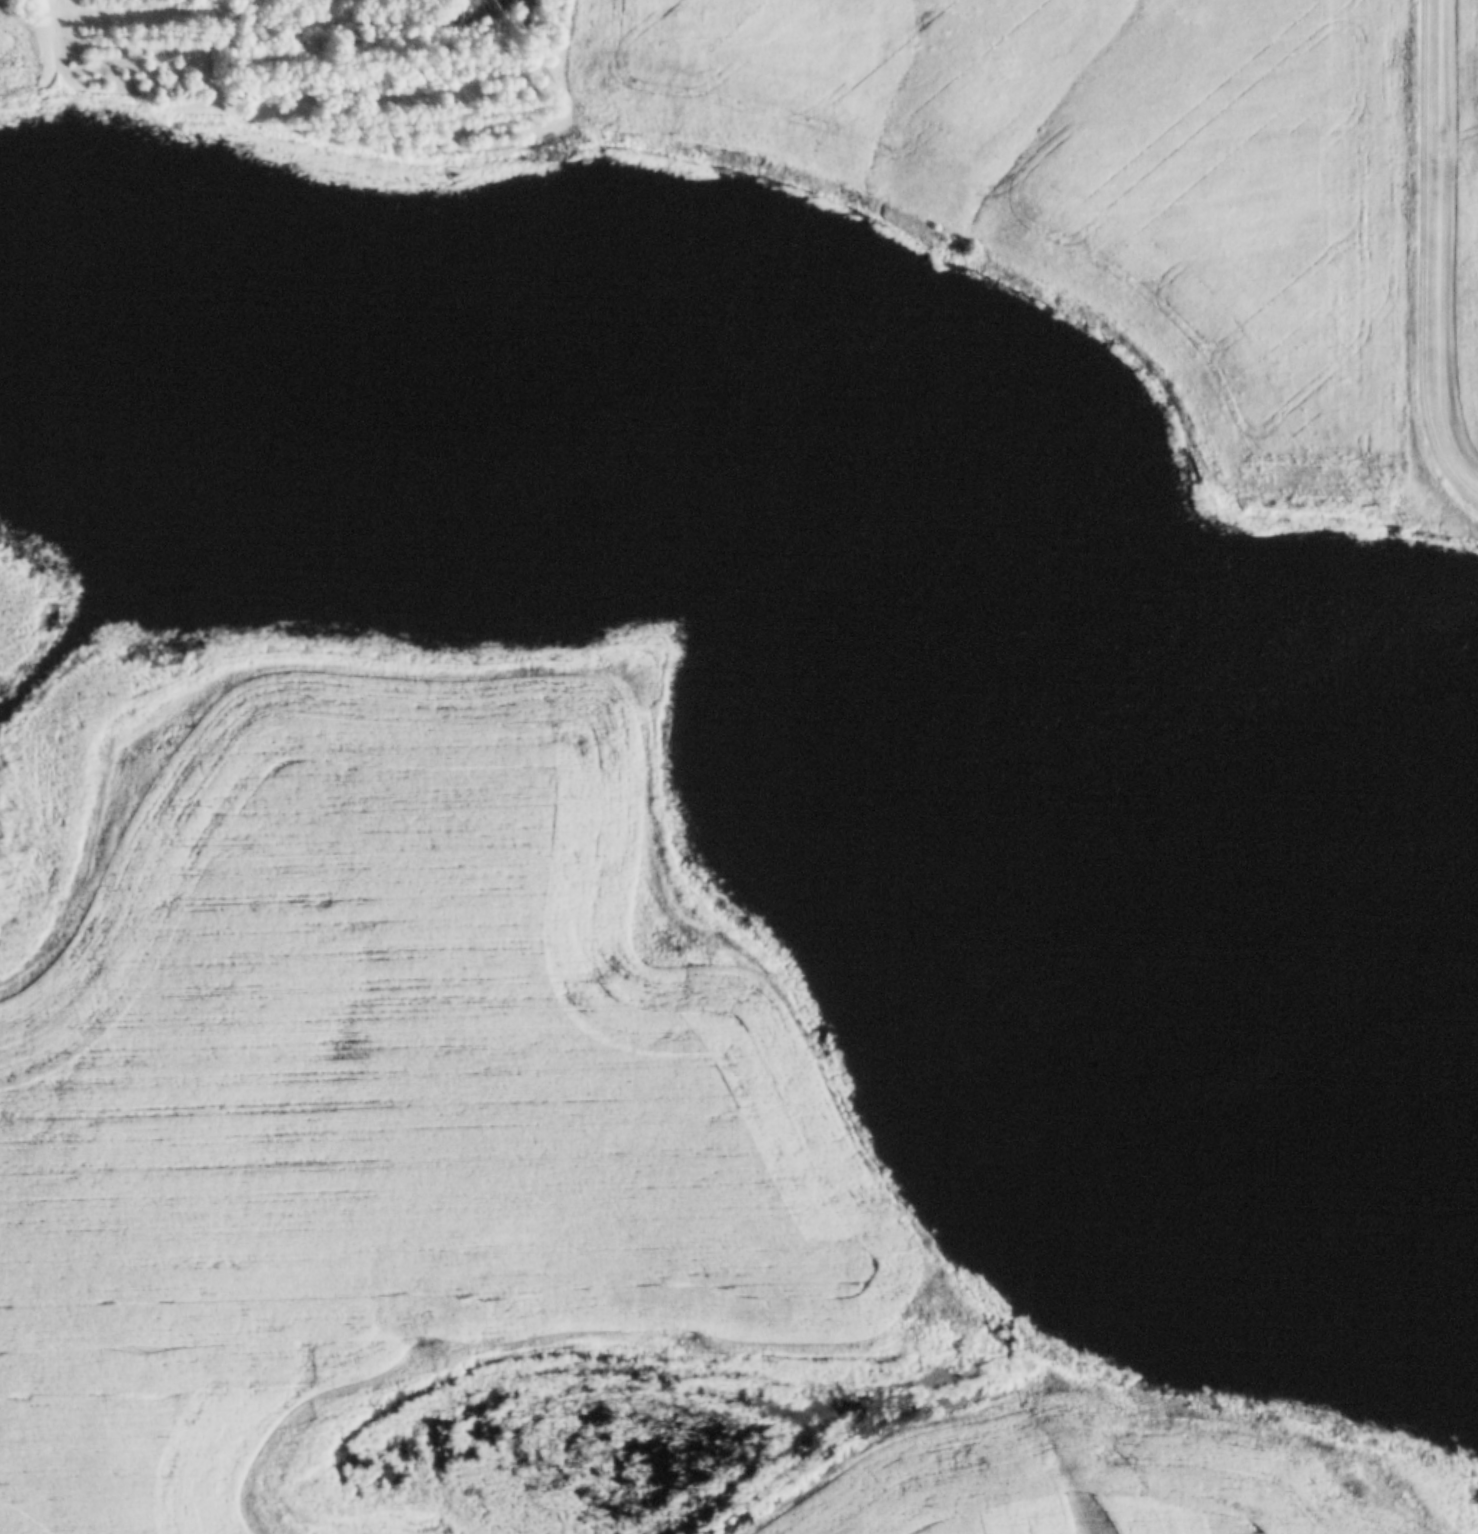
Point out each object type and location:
road: (1429, 255)
road: (622, 1322)
road: (1469, 1477)

